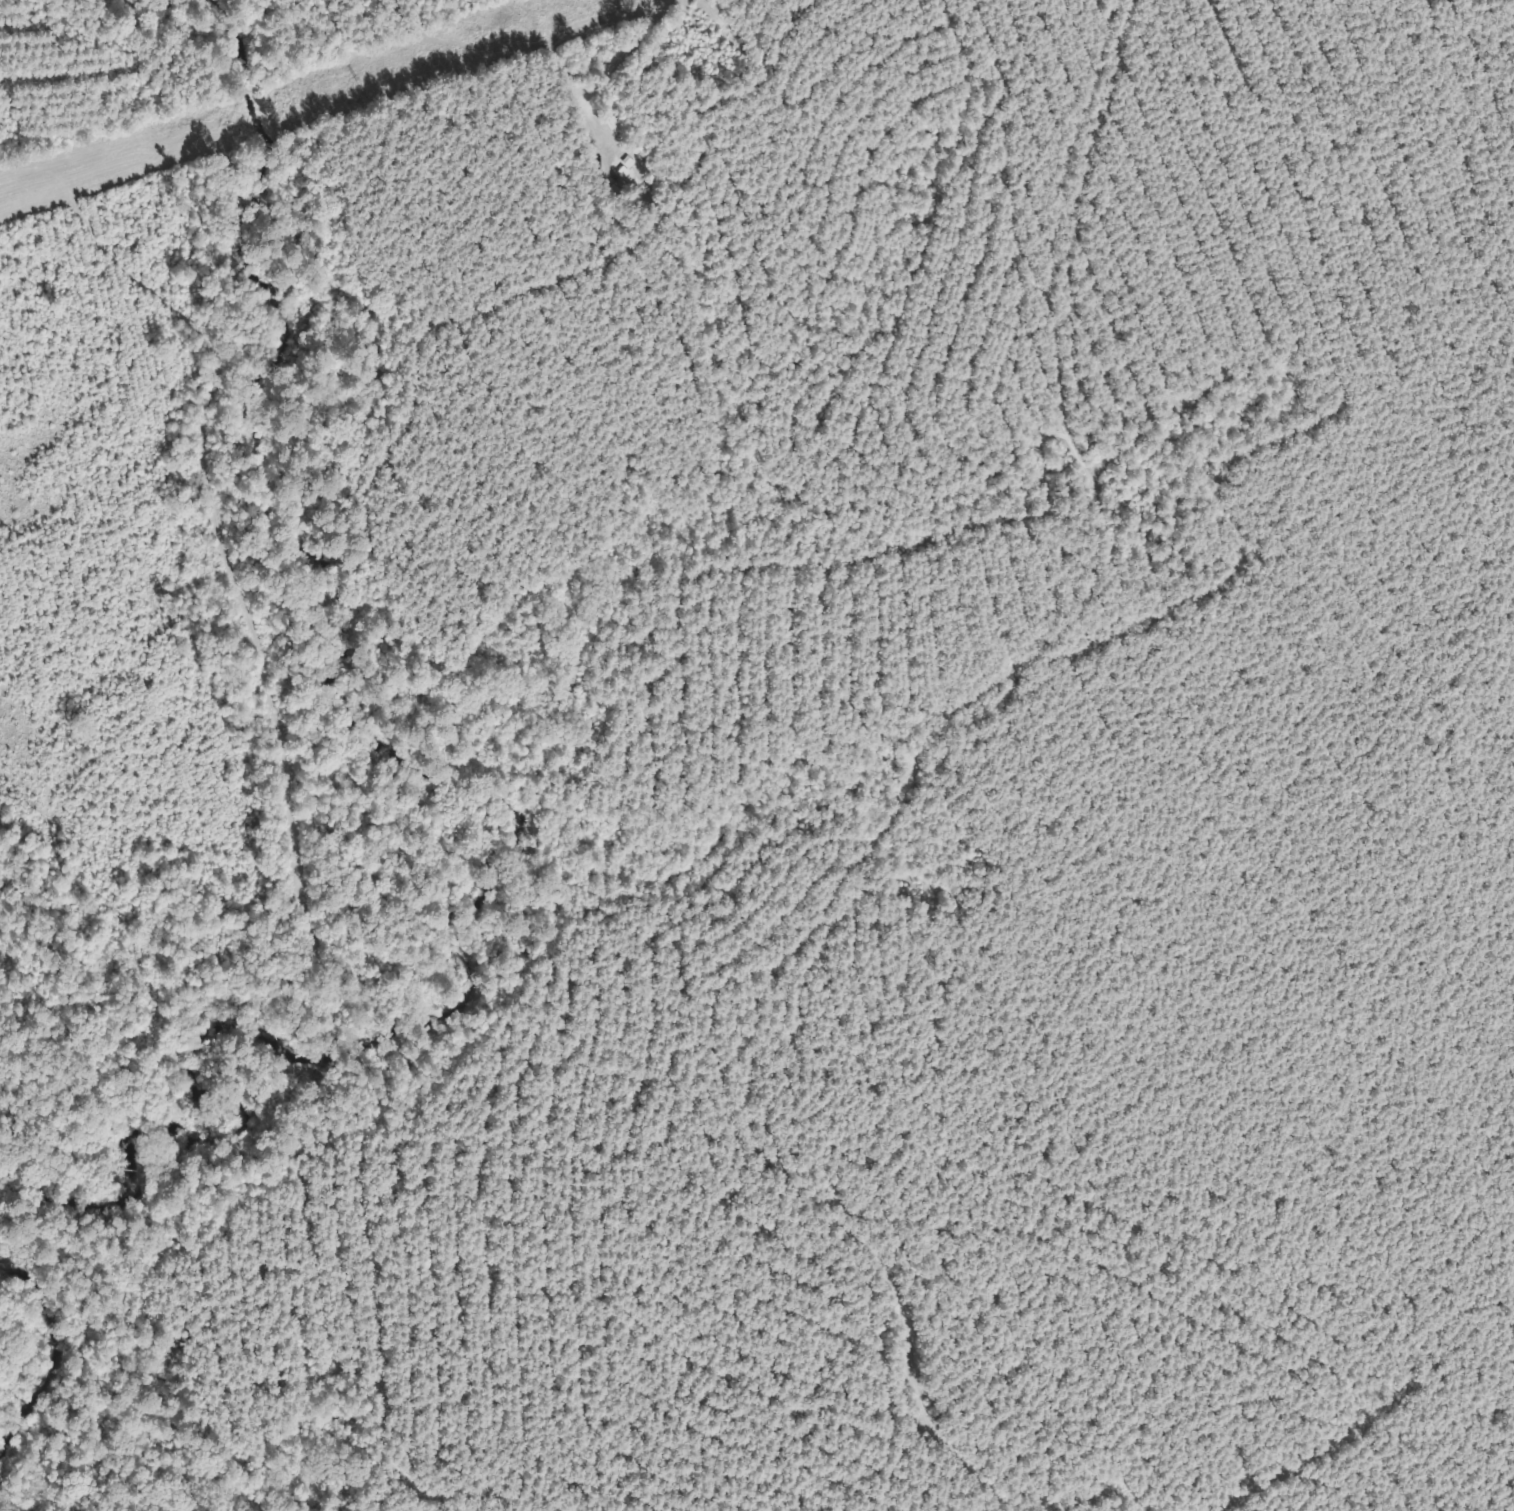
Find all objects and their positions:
power tower: (355, 82)
road: (1298, 224)

